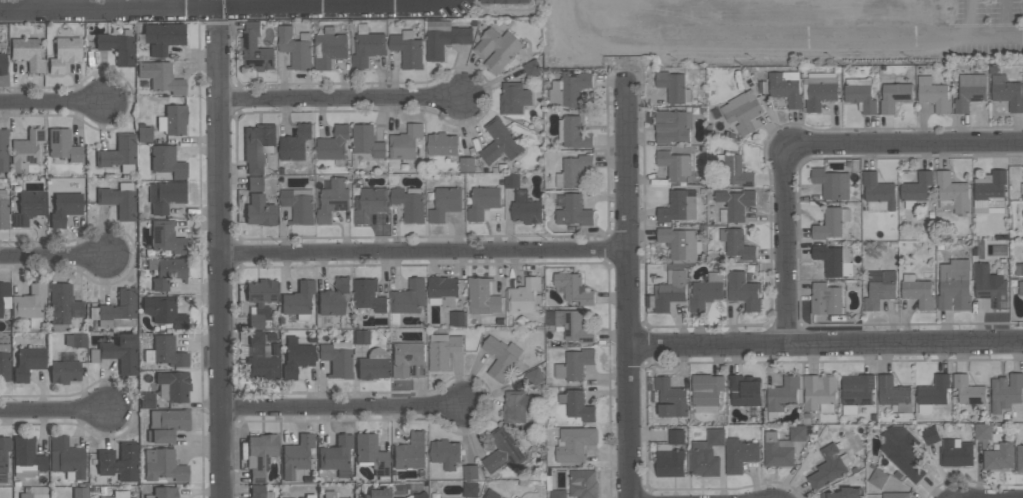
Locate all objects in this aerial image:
building: (505, 2)
road: (172, 3)
road: (365, 3)
road: (30, 4)
road: (224, 6)
road: (891, 18)
road: (968, 18)
road: (1001, 18)
road: (697, 19)
road: (738, 19)
road: (776, 19)
road: (812, 19)
road: (853, 19)
road: (618, 20)
road: (658, 20)
parking lot: (782, 32)
road: (973, 36)
building: (162, 37)
building: (444, 38)
road: (743, 39)
building: (367, 47)
building: (118, 48)
building: (296, 48)
building: (329, 48)
building: (407, 49)
building: (497, 49)
building: (256, 50)
building: (28, 53)
building: (64, 53)
street lamp: (753, 57)
street lamp: (909, 57)
street lamp: (987, 57)
street lamp: (833, 59)
street lamp: (675, 60)
building: (3, 63)
building: (531, 68)
building: (161, 77)
building: (672, 87)
building: (785, 87)
building: (568, 90)
building: (819, 90)
building: (969, 92)
building: (1007, 93)
building: (860, 95)
building: (933, 95)
building: (894, 97)
road: (341, 99)
building: (514, 99)
road: (53, 101)
building: (742, 112)
building: (172, 120)
building: (672, 127)
building: (573, 133)
building: (144, 134)
building: (367, 142)
building: (295, 143)
building: (405, 143)
building: (499, 143)
building: (63, 144)
building: (333, 144)
building: (442, 144)
road: (805, 144)
building: (258, 146)
building: (3, 150)
building: (27, 152)
building: (119, 153)
building: (167, 161)
building: (466, 165)
building: (674, 165)
building: (734, 171)
building: (573, 172)
building: (512, 181)
building: (254, 183)
building: (831, 184)
building: (1022, 189)
building: (989, 190)
building: (916, 192)
building: (878, 193)
building: (952, 194)
building: (165, 195)
building: (119, 200)
building: (332, 200)
building: (482, 200)
building: (369, 204)
building: (409, 204)
building: (444, 204)
building: (298, 205)
building: (734, 205)
building: (679, 206)
building: (28, 207)
building: (65, 208)
building: (3, 209)
building: (525, 209)
building: (260, 210)
building: (573, 211)
building: (1022, 214)
building: (830, 223)
building: (166, 237)
building: (679, 243)
building: (736, 244)
road: (424, 253)
road: (56, 258)
building: (834, 260)
road: (223, 268)
building: (1019, 270)
building: (166, 271)
building: (954, 285)
building: (990, 286)
building: (573, 288)
road: (625, 288)
building: (670, 288)
building: (1020, 288)
building: (879, 289)
building: (917, 291)
building: (443, 292)
building: (705, 292)
building: (743, 292)
building: (4, 293)
building: (368, 296)
building: (333, 297)
building: (482, 297)
building: (524, 297)
building: (409, 298)
building: (298, 300)
building: (826, 300)
building: (260, 301)
building: (30, 305)
building: (63, 306)
building: (119, 309)
building: (164, 311)
building: (457, 319)
building: (500, 321)
building: (570, 325)
building: (361, 336)
building: (270, 337)
building: (76, 340)
road: (824, 344)
building: (274, 348)
building: (165, 351)
building: (442, 351)
building: (119, 352)
building: (296, 357)
building: (260, 358)
building: (501, 358)
building: (337, 359)
building: (408, 360)
building: (4, 362)
building: (28, 362)
building: (373, 365)
building: (574, 365)
building: (64, 371)
building: (535, 376)
building: (175, 384)
building: (745, 390)
building: (967, 390)
building: (1006, 392)
building: (706, 393)
building: (819, 393)
building: (856, 393)
building: (784, 394)
building: (933, 394)
building: (893, 395)
building: (670, 398)
building: (146, 399)
building: (577, 405)
building: (516, 406)
road: (53, 408)
road: (351, 413)
building: (166, 424)
building: (982, 431)
building: (930, 435)
building: (676, 437)
building: (574, 444)
building: (781, 447)
building: (902, 451)
building: (410, 452)
building: (503, 452)
building: (371, 453)
building: (445, 453)
building: (955, 453)
building: (260, 455)
building: (296, 455)
building: (337, 455)
building: (706, 455)
building: (739, 455)
building: (3, 456)
building: (27, 457)
building: (998, 457)
building: (66, 458)
building: (1019, 459)
building: (119, 461)
building: (669, 462)
building: (164, 465)
building: (829, 467)
building: (470, 472)
building: (307, 478)
building: (878, 479)
building: (583, 484)
building: (470, 490)
building: (80, 492)
building: (163, 492)
building: (260, 492)
building: (378, 493)
building: (843, 493)
building: (25, 494)
building: (117, 494)
building: (329, 494)
building: (490, 494)
building: (558, 494)
building: (419, 495)
building: (895, 495)
building: (309, 496)
building: (515, 497)

